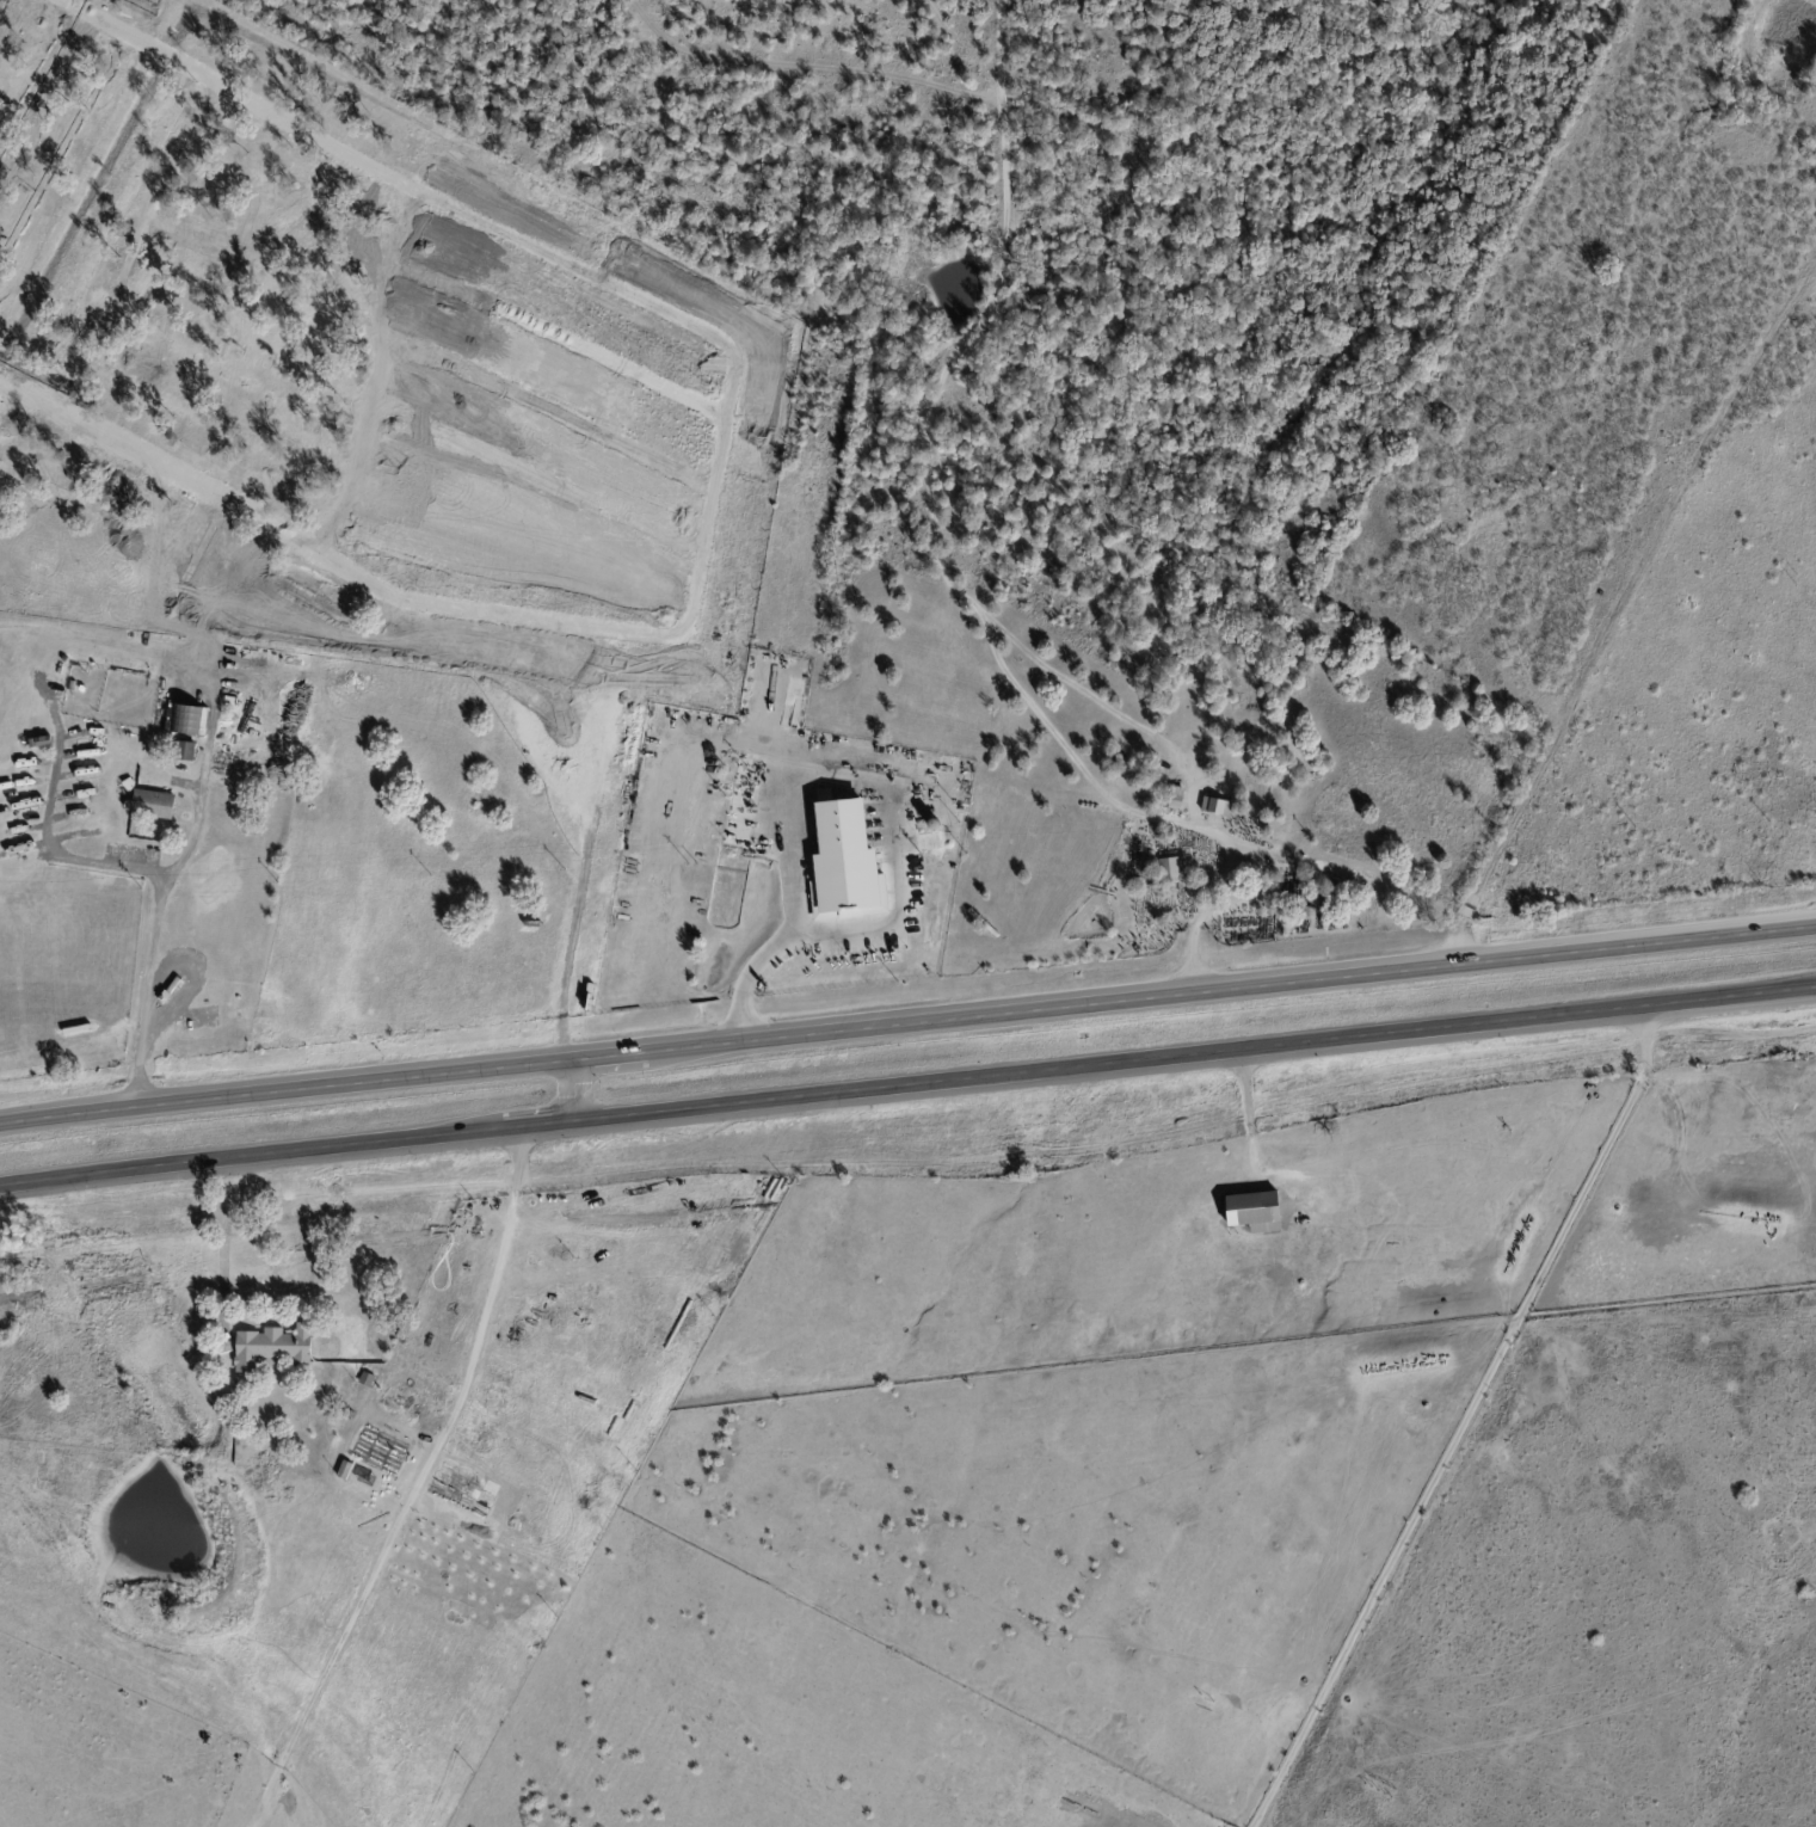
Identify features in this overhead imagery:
road: (925, 450)
road: (1620, 608)
building: (185, 752)
building: (1119, 759)
road: (831, 767)
building: (824, 795)
building: (1175, 802)
building: (152, 806)
building: (1217, 806)
road: (57, 851)
building: (845, 865)
building: (1169, 869)
road: (1213, 887)
road: (845, 931)
road: (154, 953)
road: (746, 974)
road: (1194, 994)
road: (1469, 1027)
road: (287, 1090)
road: (579, 1090)
road: (560, 1124)
building: (1252, 1213)
road: (223, 1253)
building: (272, 1348)
building: (365, 1382)
building: (389, 1407)
road: (1463, 1421)
building: (344, 1471)
road: (420, 1489)
building: (275, 1607)
building: (303, 1622)
building: (1215, 1700)
building: (1380, 1790)

